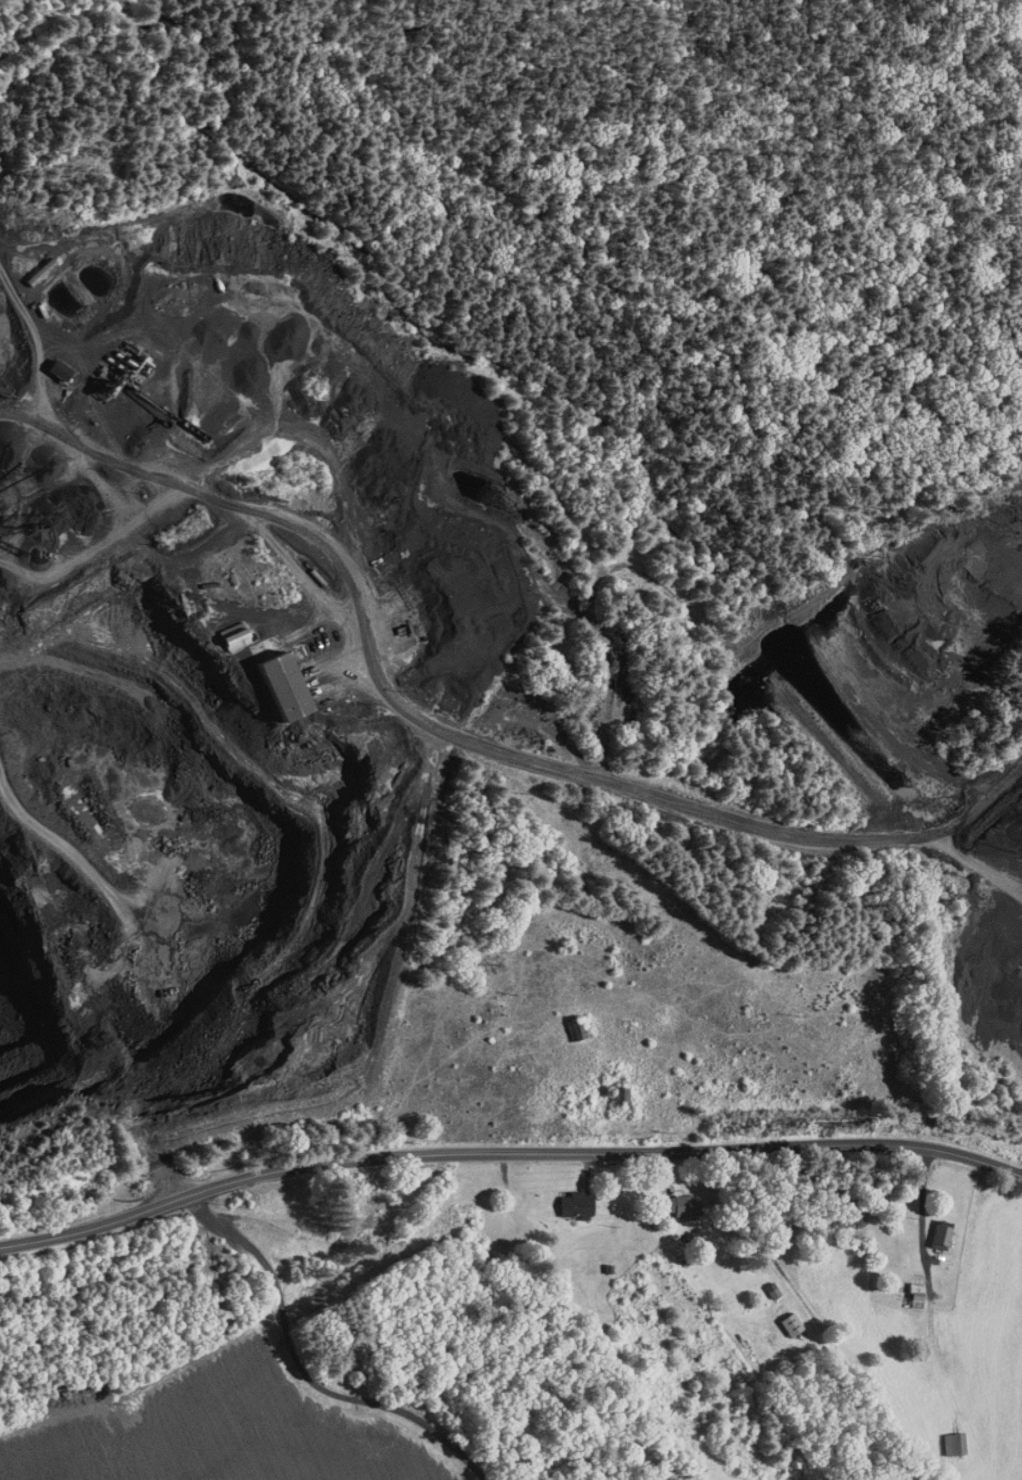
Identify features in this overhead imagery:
quarry: (422, 656)
road: (728, 815)
road: (642, 1078)
road: (507, 1154)
road: (349, 1243)
road: (619, 1313)
road: (931, 1313)
road: (285, 1321)

